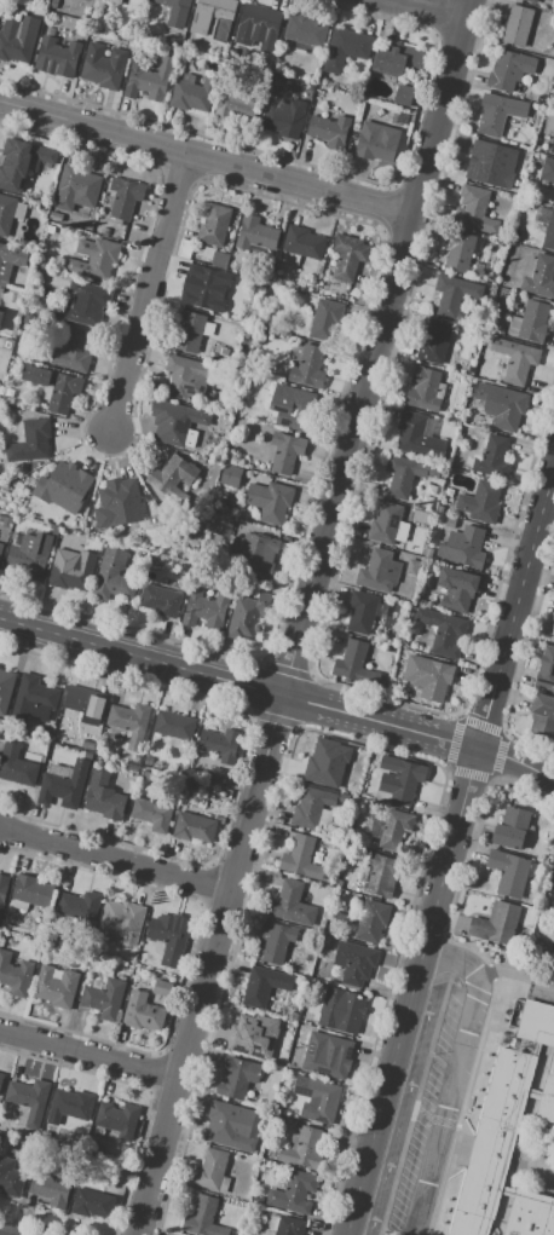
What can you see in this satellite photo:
building: (115, 1)
building: (531, 1)
building: (174, 2)
building: (53, 4)
road: (429, 8)
building: (215, 16)
building: (517, 25)
building: (259, 27)
building: (305, 30)
building: (190, 31)
building: (18, 39)
building: (345, 48)
building: (57, 56)
building: (397, 59)
building: (103, 65)
building: (509, 69)
building: (149, 80)
building: (192, 93)
building: (236, 104)
building: (498, 112)
building: (284, 119)
building: (549, 123)
building: (329, 131)
building: (375, 146)
building: (553, 146)
road: (207, 158)
building: (22, 163)
building: (491, 163)
building: (547, 171)
building: (76, 185)
building: (125, 197)
building: (474, 209)
building: (6, 213)
building: (214, 225)
building: (258, 232)
building: (549, 232)
building: (304, 242)
building: (184, 248)
building: (461, 250)
building: (348, 256)
building: (94, 258)
building: (220, 259)
building: (10, 260)
building: (539, 276)
building: (204, 290)
road: (151, 294)
building: (454, 294)
building: (83, 302)
building: (0, 313)
building: (325, 318)
building: (253, 319)
building: (530, 322)
building: (189, 331)
building: (246, 331)
building: (433, 342)
building: (74, 351)
building: (515, 358)
building: (308, 367)
building: (185, 376)
building: (248, 377)
building: (54, 386)
building: (423, 388)
building: (501, 405)
building: (293, 406)
building: (181, 426)
building: (417, 437)
building: (29, 440)
building: (285, 451)
building: (492, 458)
building: (173, 473)
building: (405, 474)
building: (231, 475)
building: (62, 486)
building: (117, 495)
building: (270, 498)
building: (480, 502)
building: (6, 521)
building: (385, 523)
building: (450, 523)
building: (221, 526)
building: (0, 542)
building: (462, 546)
building: (1, 548)
building: (35, 553)
building: (255, 553)
building: (71, 571)
building: (380, 571)
building: (109, 578)
building: (458, 588)
building: (161, 600)
building: (207, 608)
building: (362, 612)
building: (248, 616)
road: (305, 617)
building: (553, 617)
building: (442, 629)
building: (352, 662)
building: (546, 669)
building: (428, 676)
road: (238, 680)
building: (5, 689)
building: (33, 703)
building: (83, 703)
building: (542, 715)
building: (128, 719)
building: (174, 725)
building: (218, 741)
building: (323, 761)
road: (515, 761)
building: (16, 764)
building: (219, 777)
building: (399, 778)
building: (63, 785)
building: (103, 797)
building: (311, 807)
building: (151, 814)
building: (194, 827)
building: (388, 827)
building: (512, 827)
road: (450, 847)
road: (115, 858)
building: (301, 858)
building: (509, 872)
building: (381, 876)
building: (2, 890)
building: (31, 890)
building: (550, 895)
building: (290, 904)
building: (77, 905)
building: (121, 921)
building: (371, 921)
building: (496, 923)
building: (171, 936)
building: (273, 941)
building: (354, 962)
road: (503, 971)
building: (15, 974)
road: (539, 986)
building: (162, 987)
building: (258, 987)
building: (54, 991)
building: (103, 998)
building: (341, 1009)
building: (142, 1011)
building: (536, 1022)
building: (250, 1032)
road: (92, 1051)
building: (325, 1057)
road: (455, 1075)
building: (1, 1078)
building: (237, 1078)
building: (547, 1093)
building: (28, 1095)
building: (322, 1102)
building: (73, 1104)
building: (116, 1116)
building: (225, 1127)
building: (491, 1142)
building: (302, 1148)
flagpole: (455, 1166)
building: (210, 1170)
building: (11, 1177)
building: (52, 1188)
building: (293, 1193)
building: (92, 1204)
building: (529, 1214)
building: (203, 1218)
building: (289, 1225)
road: (1, 1234)

